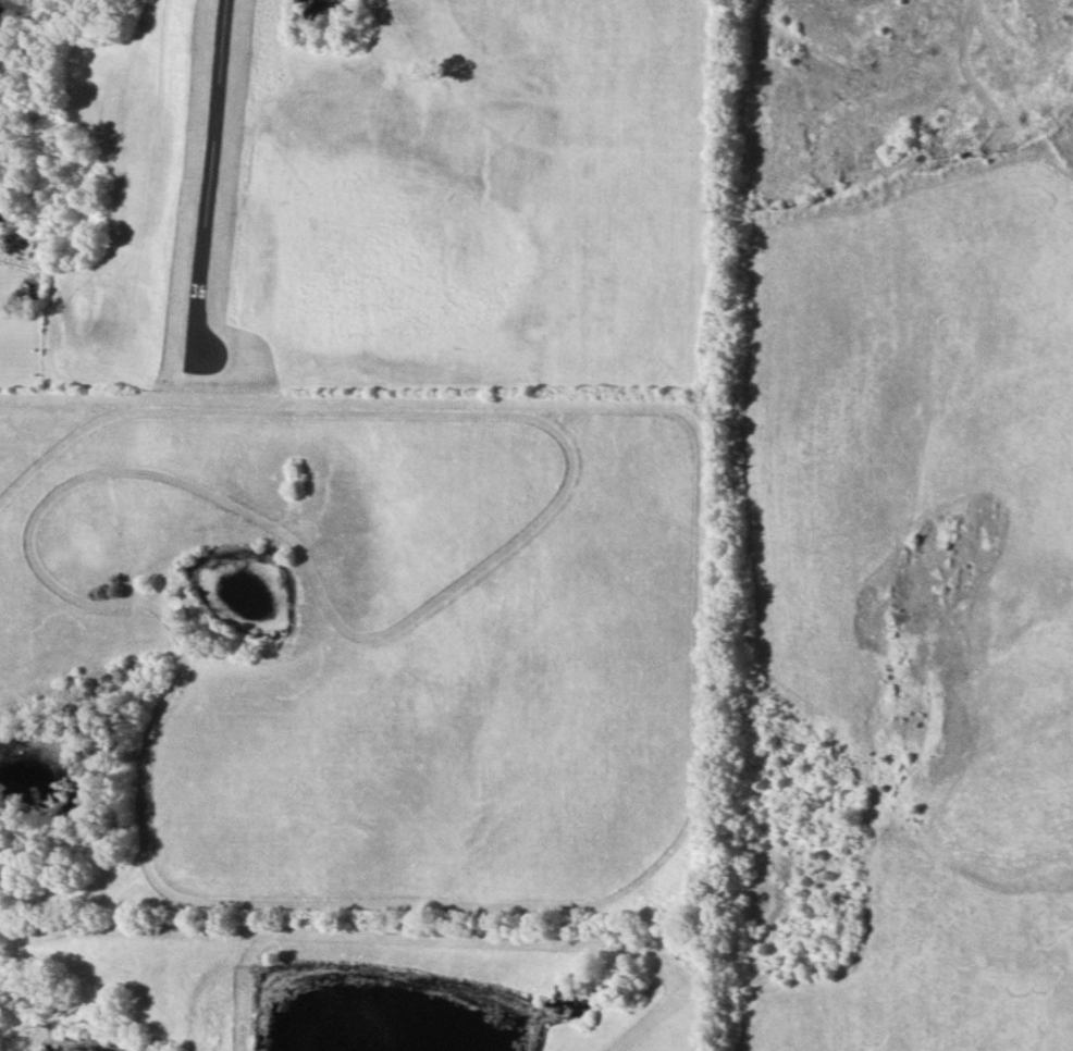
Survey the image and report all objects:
airport runway: (215, 183)
airport: (387, 194)
airport apron: (211, 354)

